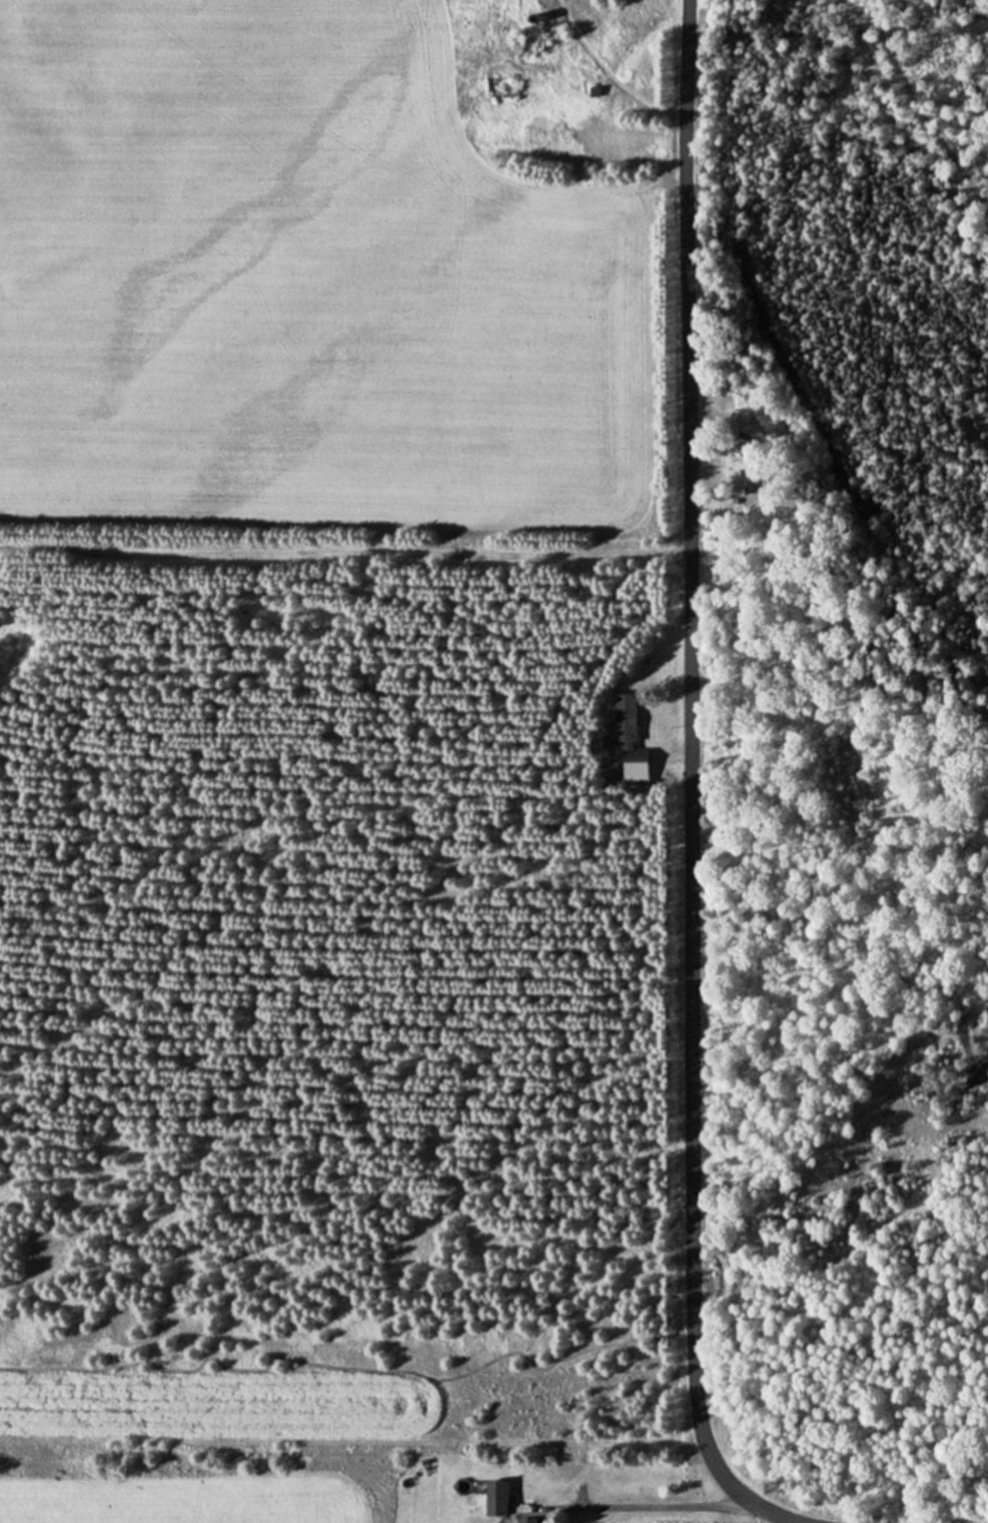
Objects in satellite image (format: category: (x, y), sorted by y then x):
road: (345, 555)
building: (623, 719)
building: (632, 760)
road: (691, 783)
building: (491, 1499)
road: (648, 1510)

